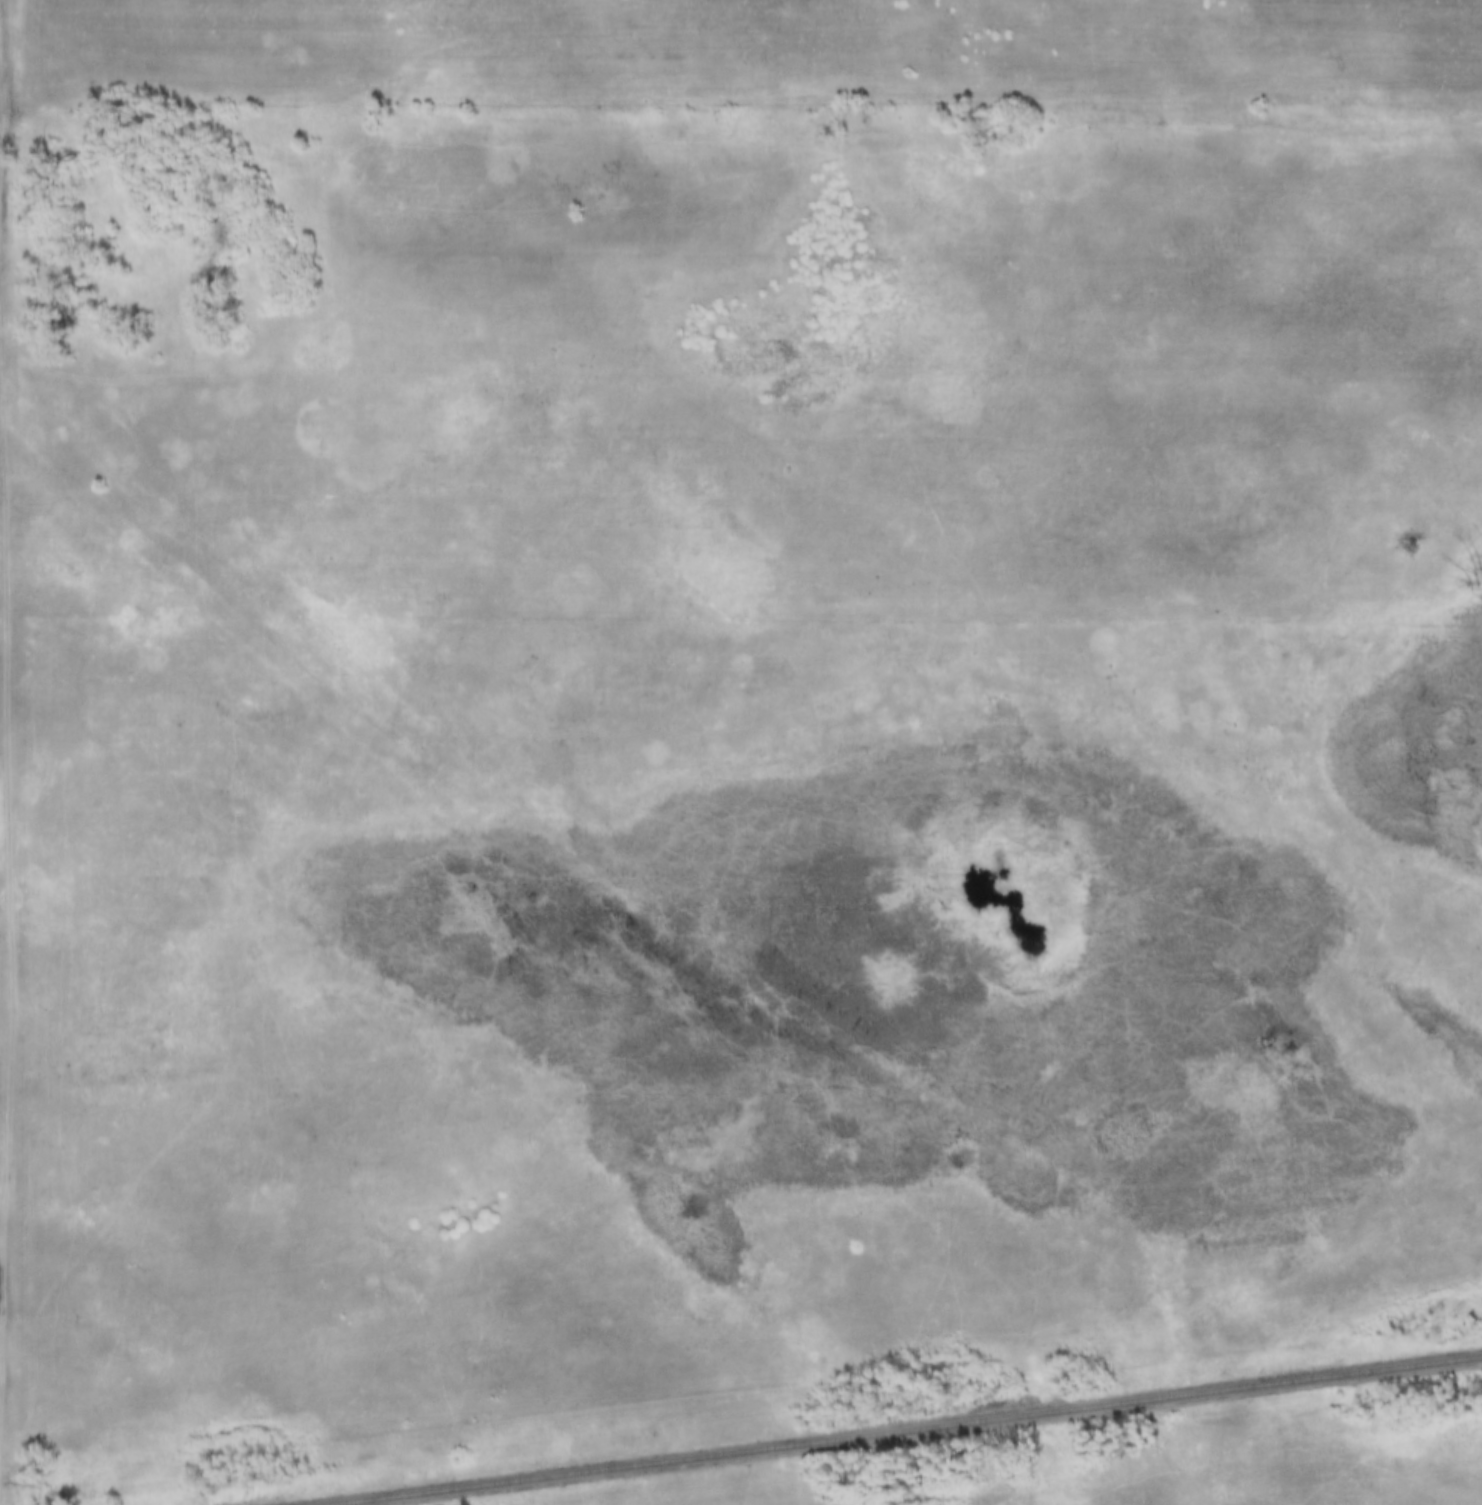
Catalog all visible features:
road: (14, 714)
railway: (898, 1429)

